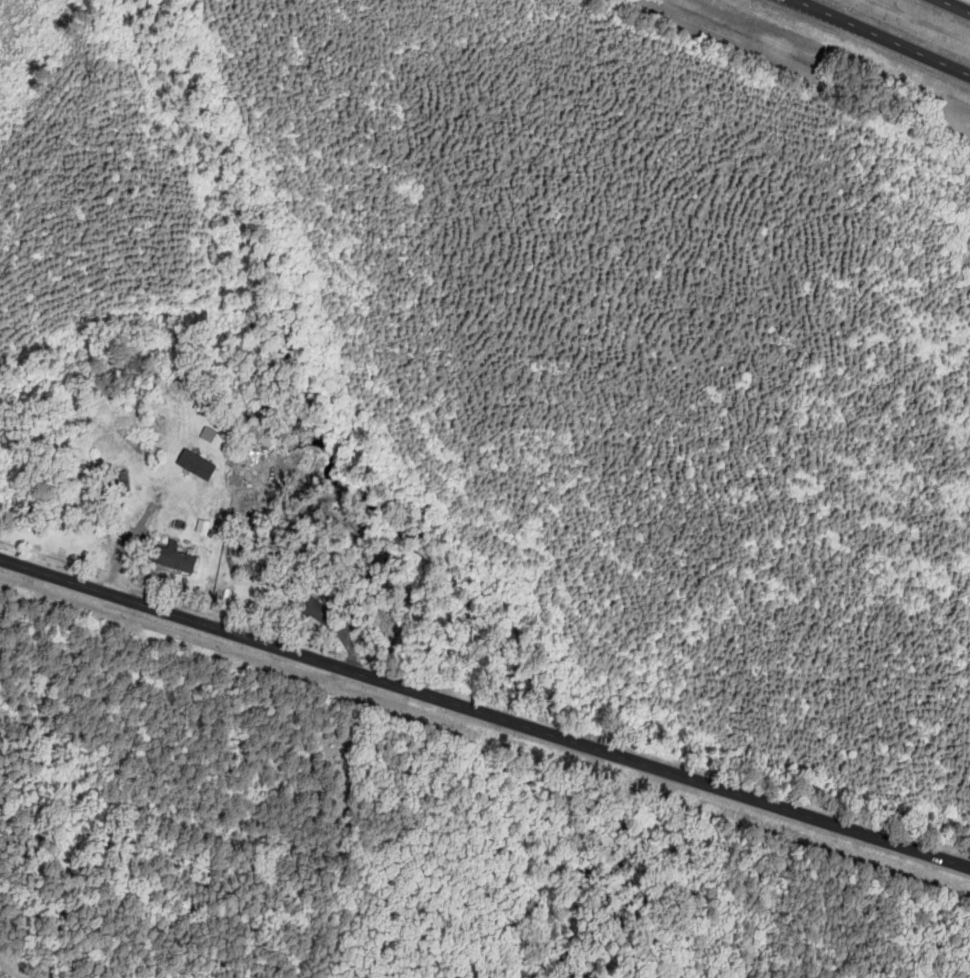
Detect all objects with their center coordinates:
road: (953, 6)
road: (881, 38)
building: (118, 484)
building: (90, 501)
building: (174, 560)
building: (310, 605)
road: (485, 714)

